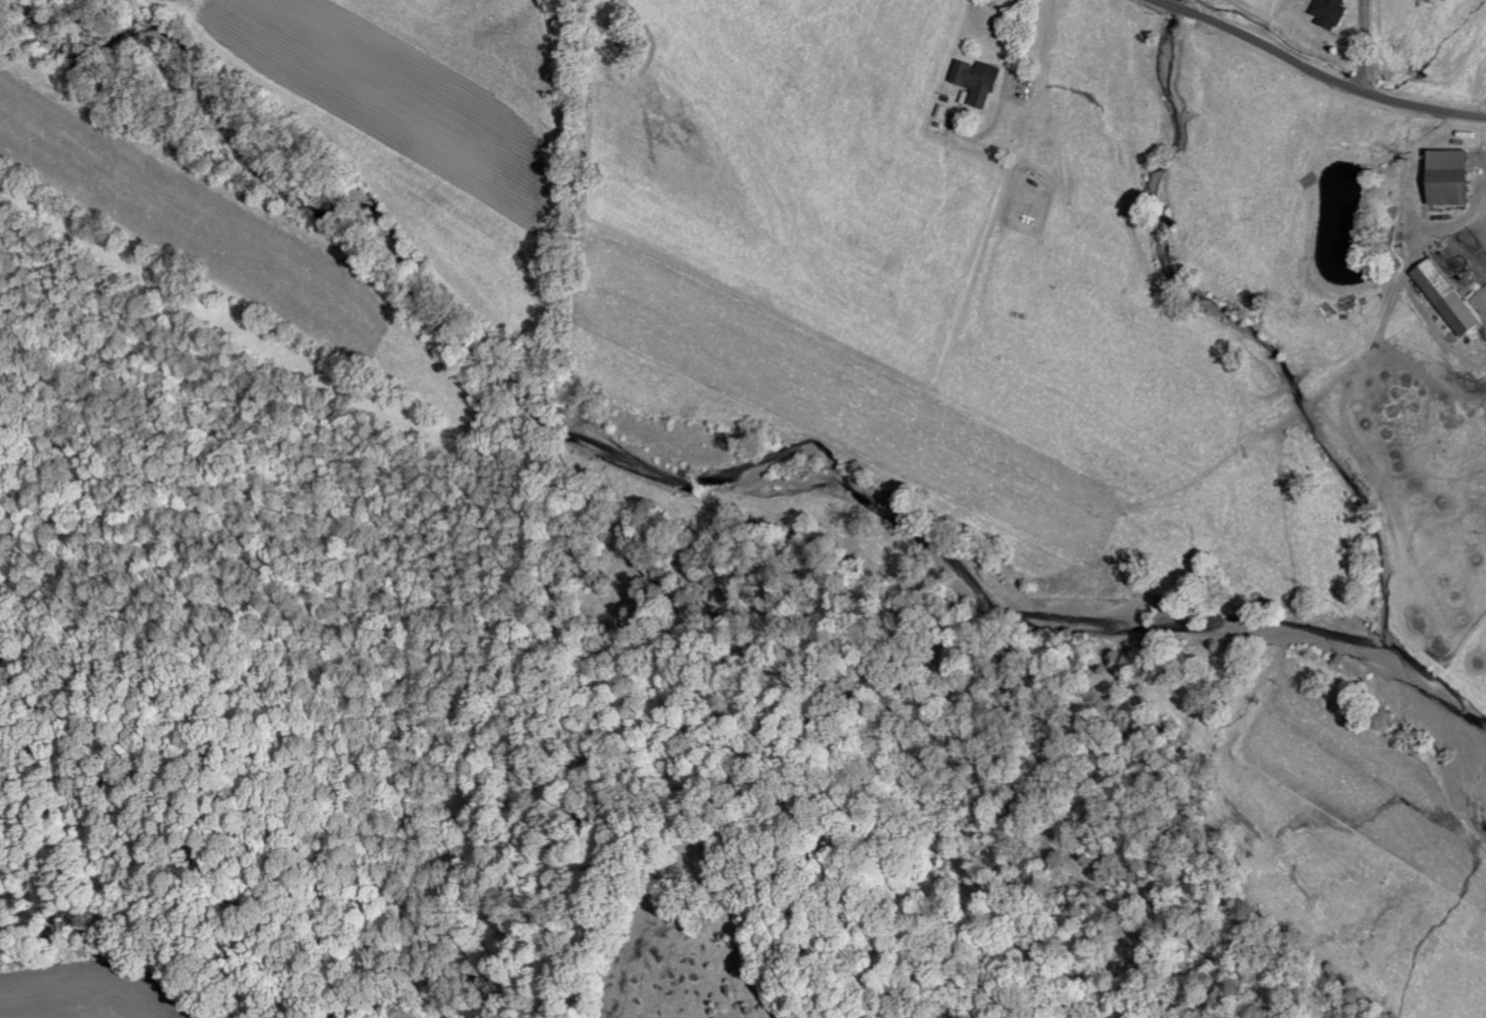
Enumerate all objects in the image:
building: (1330, 12)
road: (1359, 45)
road: (1316, 72)
building: (977, 80)
building: (1450, 177)
building: (1446, 296)

